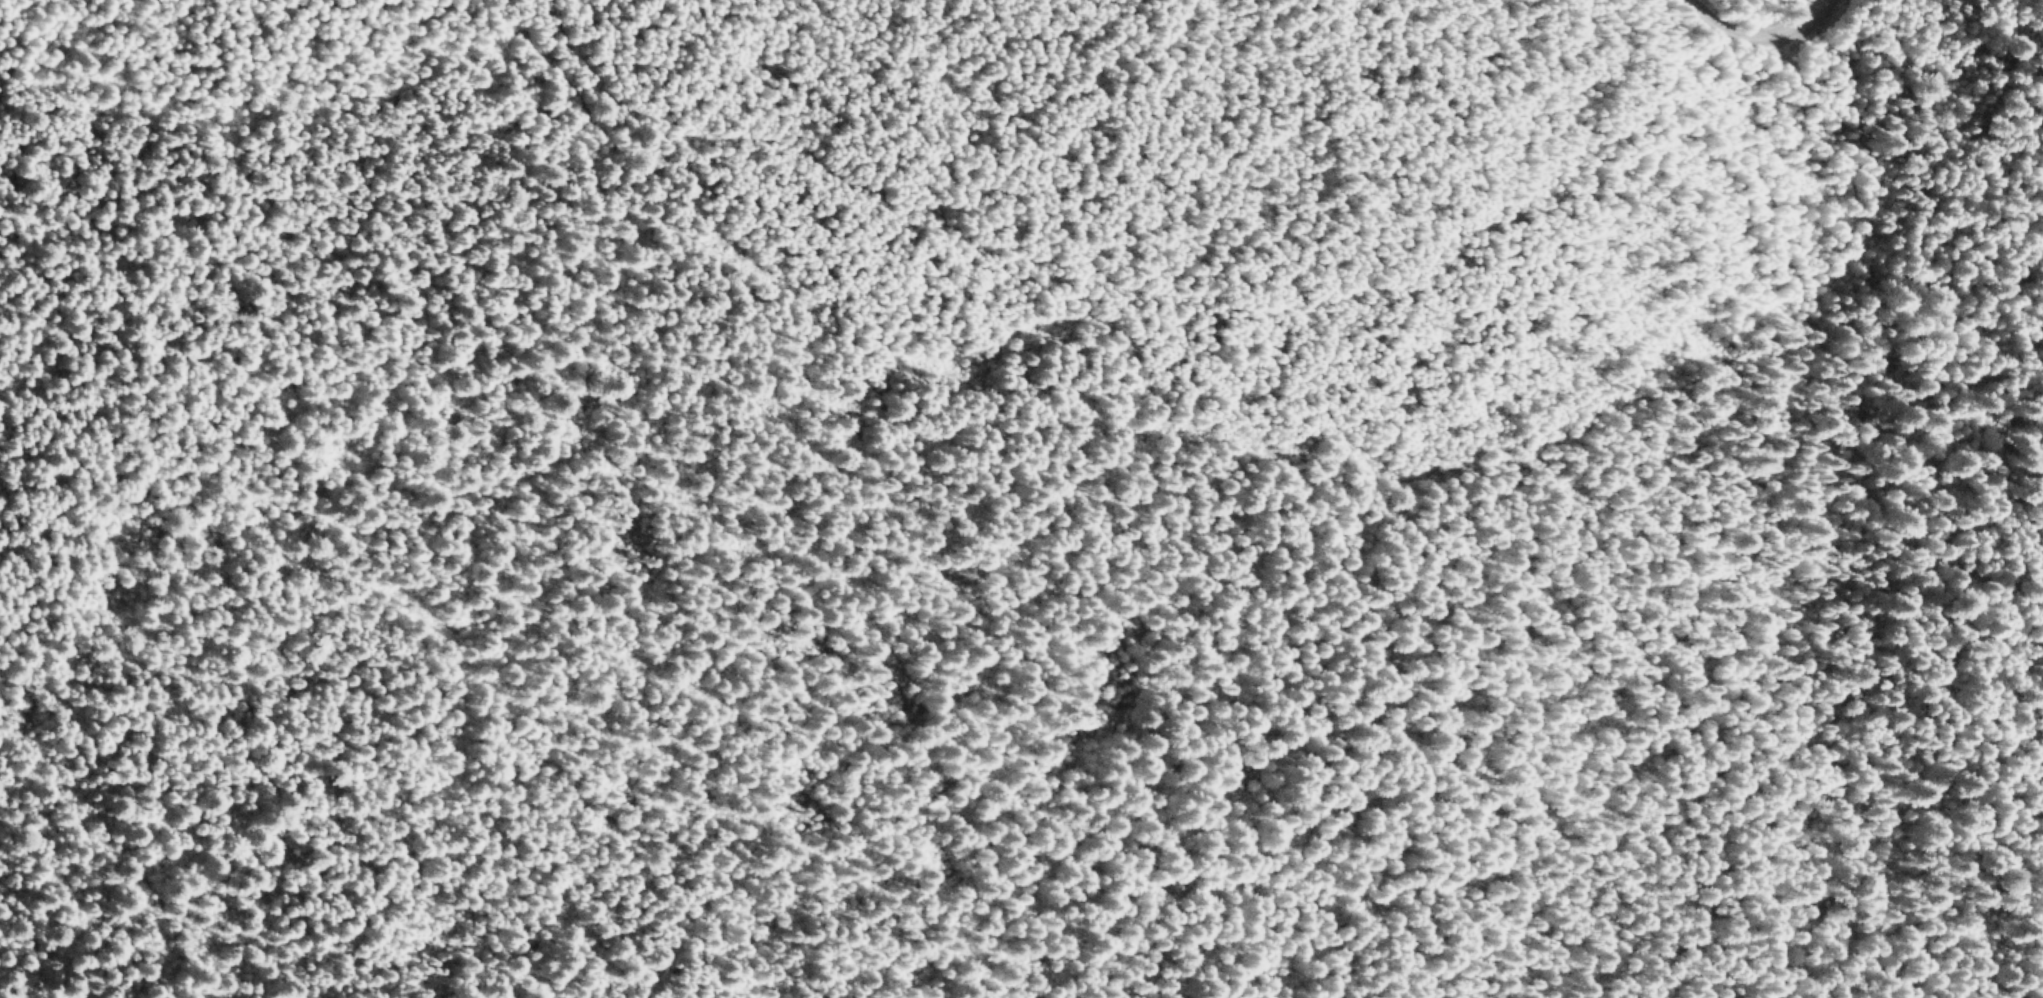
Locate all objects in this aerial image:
road: (1760, 30)

